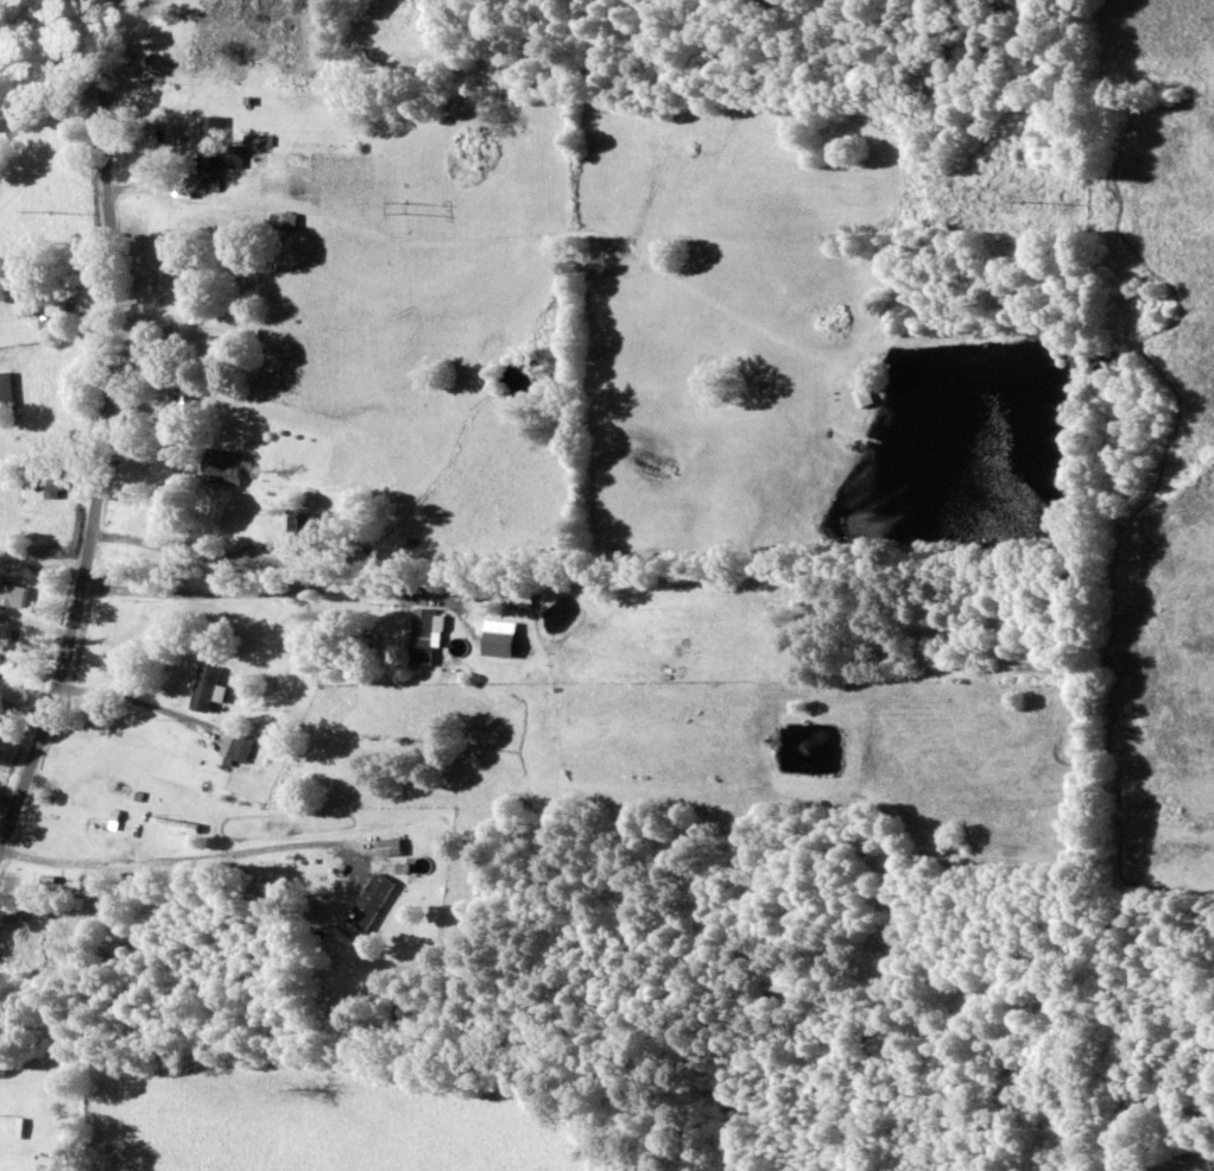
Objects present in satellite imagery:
building: (210, 165)
building: (285, 220)
building: (26, 293)
building: (173, 390)
building: (7, 391)
road: (108, 466)
building: (226, 467)
building: (52, 486)
building: (303, 534)
building: (18, 591)
building: (425, 637)
building: (502, 645)
building: (208, 689)
building: (87, 791)
building: (373, 901)
building: (43, 933)

